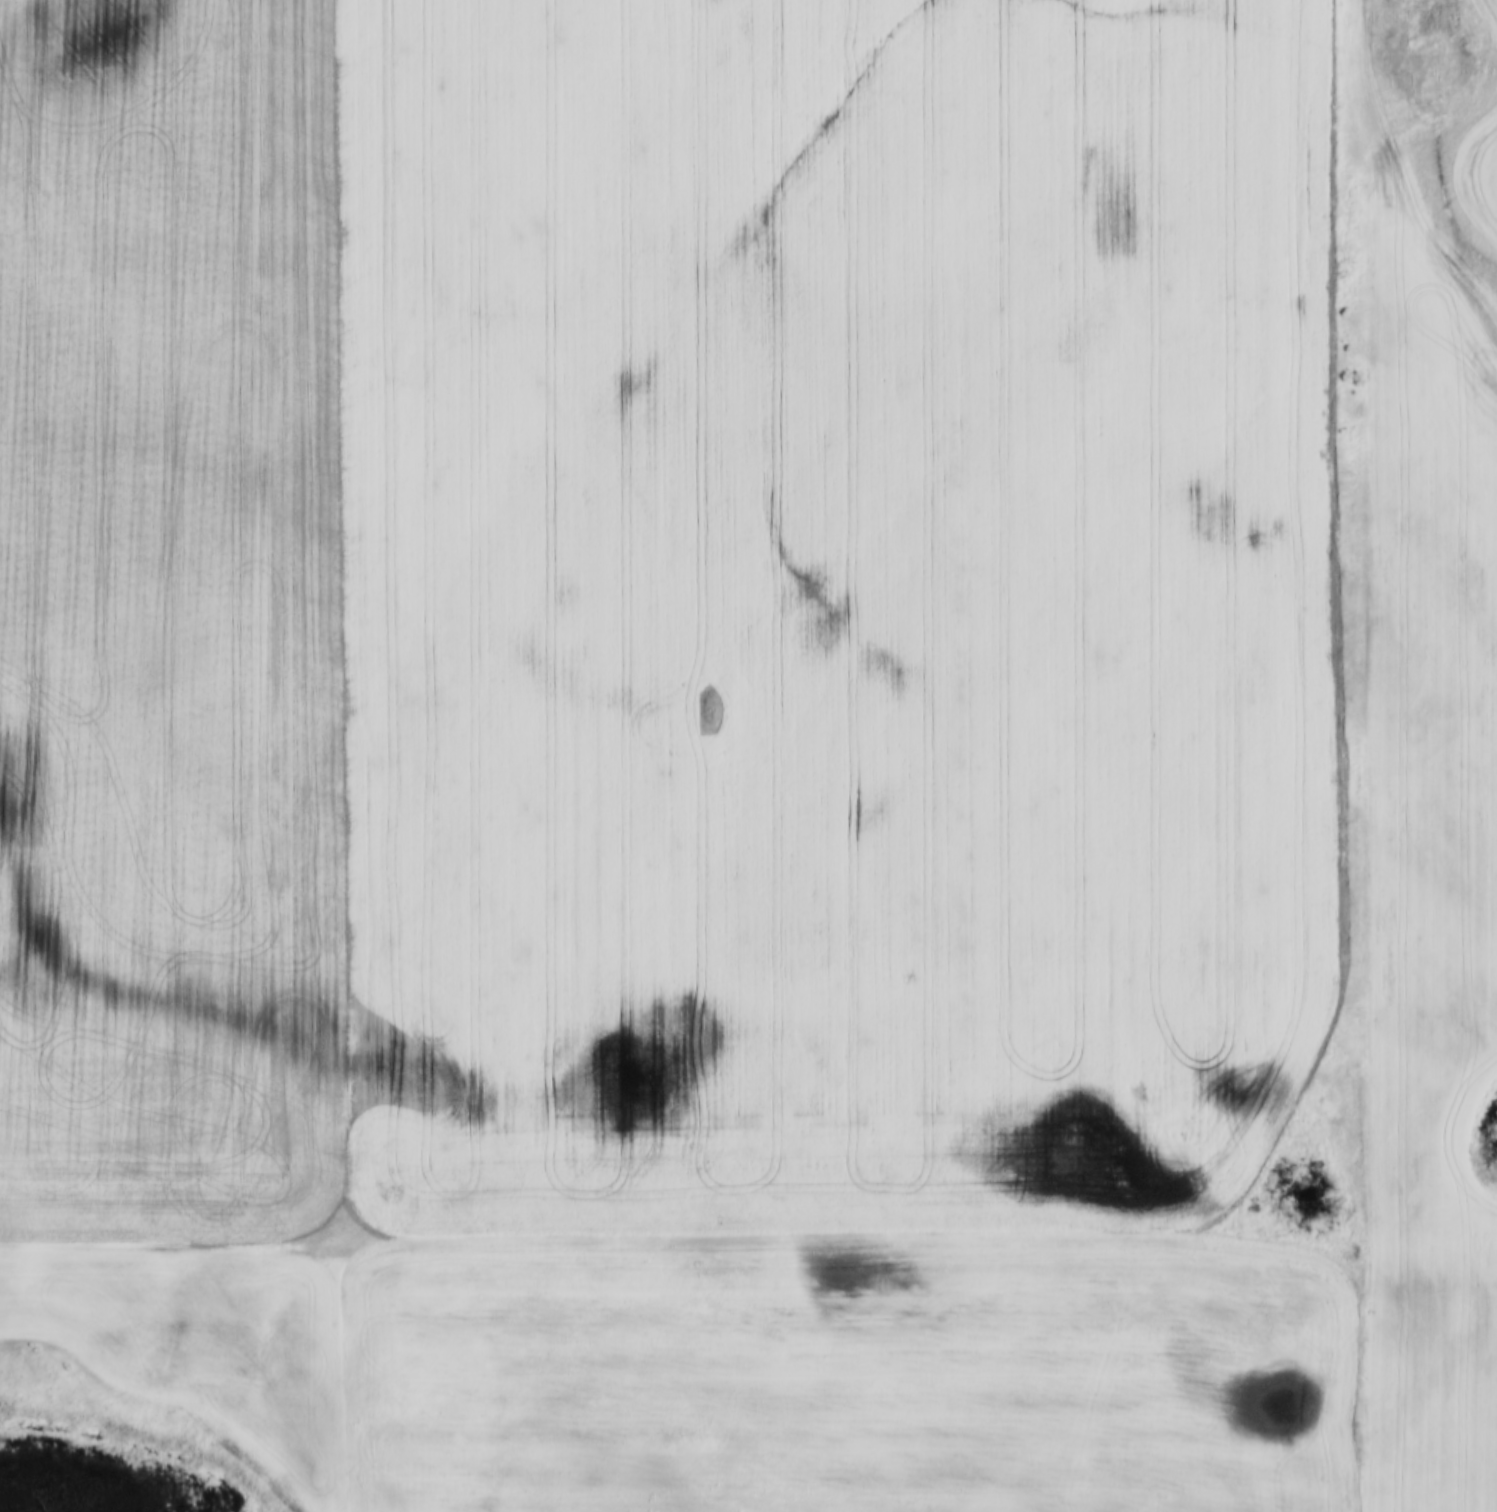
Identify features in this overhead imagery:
road: (171, 1239)

